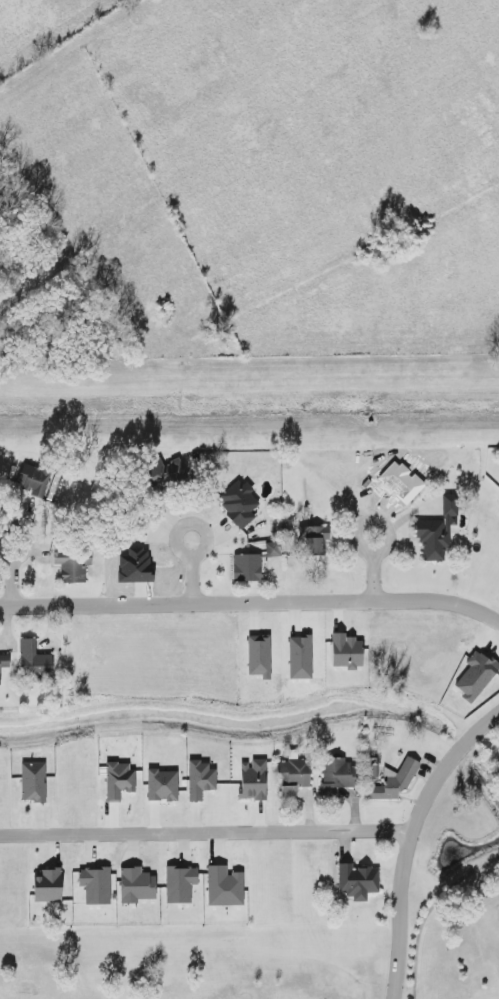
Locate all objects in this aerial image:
building: (174, 470)
building: (39, 481)
building: (241, 503)
building: (440, 531)
building: (254, 563)
building: (74, 565)
road: (16, 569)
road: (191, 580)
road: (377, 583)
road: (251, 606)
building: (36, 660)
building: (4, 664)
building: (340, 776)
building: (296, 777)
building: (202, 779)
building: (119, 780)
building: (255, 780)
building: (34, 782)
building: (164, 785)
road: (208, 834)
road: (412, 845)
building: (358, 883)
building: (181, 884)
building: (49, 886)
building: (97, 886)
building: (138, 886)
building: (226, 887)
park: (280, 953)

